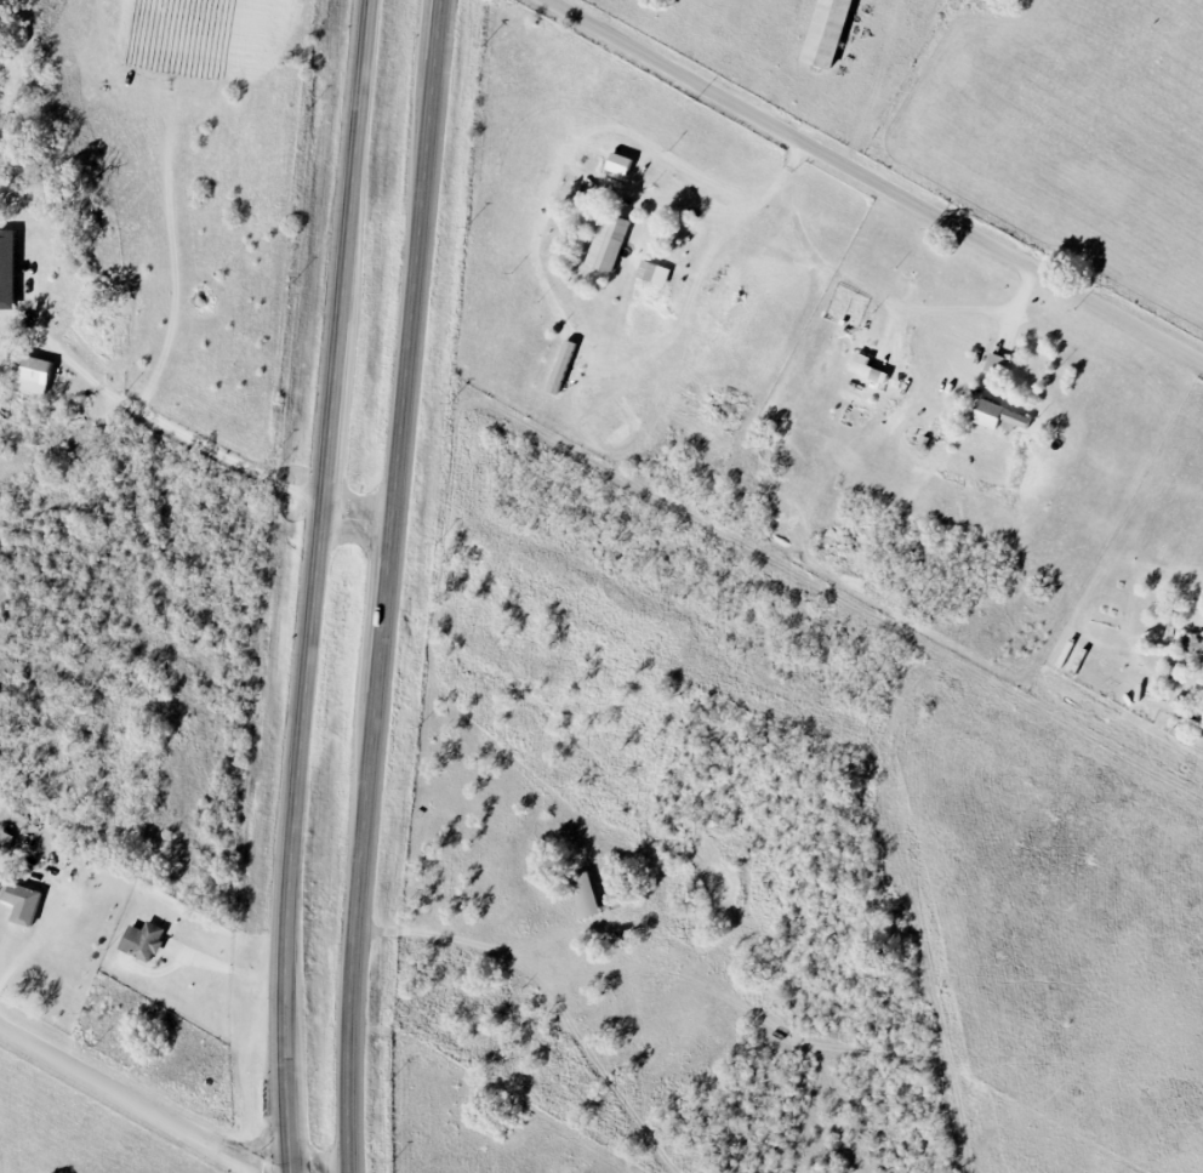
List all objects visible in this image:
building: (825, 32)
building: (618, 163)
road: (589, 176)
road: (868, 182)
building: (608, 241)
building: (6, 268)
building: (652, 273)
road: (885, 298)
building: (561, 366)
building: (866, 368)
building: (34, 375)
road: (142, 406)
building: (999, 416)
road: (358, 519)
road: (317, 586)
road: (387, 586)
building: (5, 841)
building: (583, 894)
building: (22, 904)
building: (142, 941)
road: (155, 1109)

